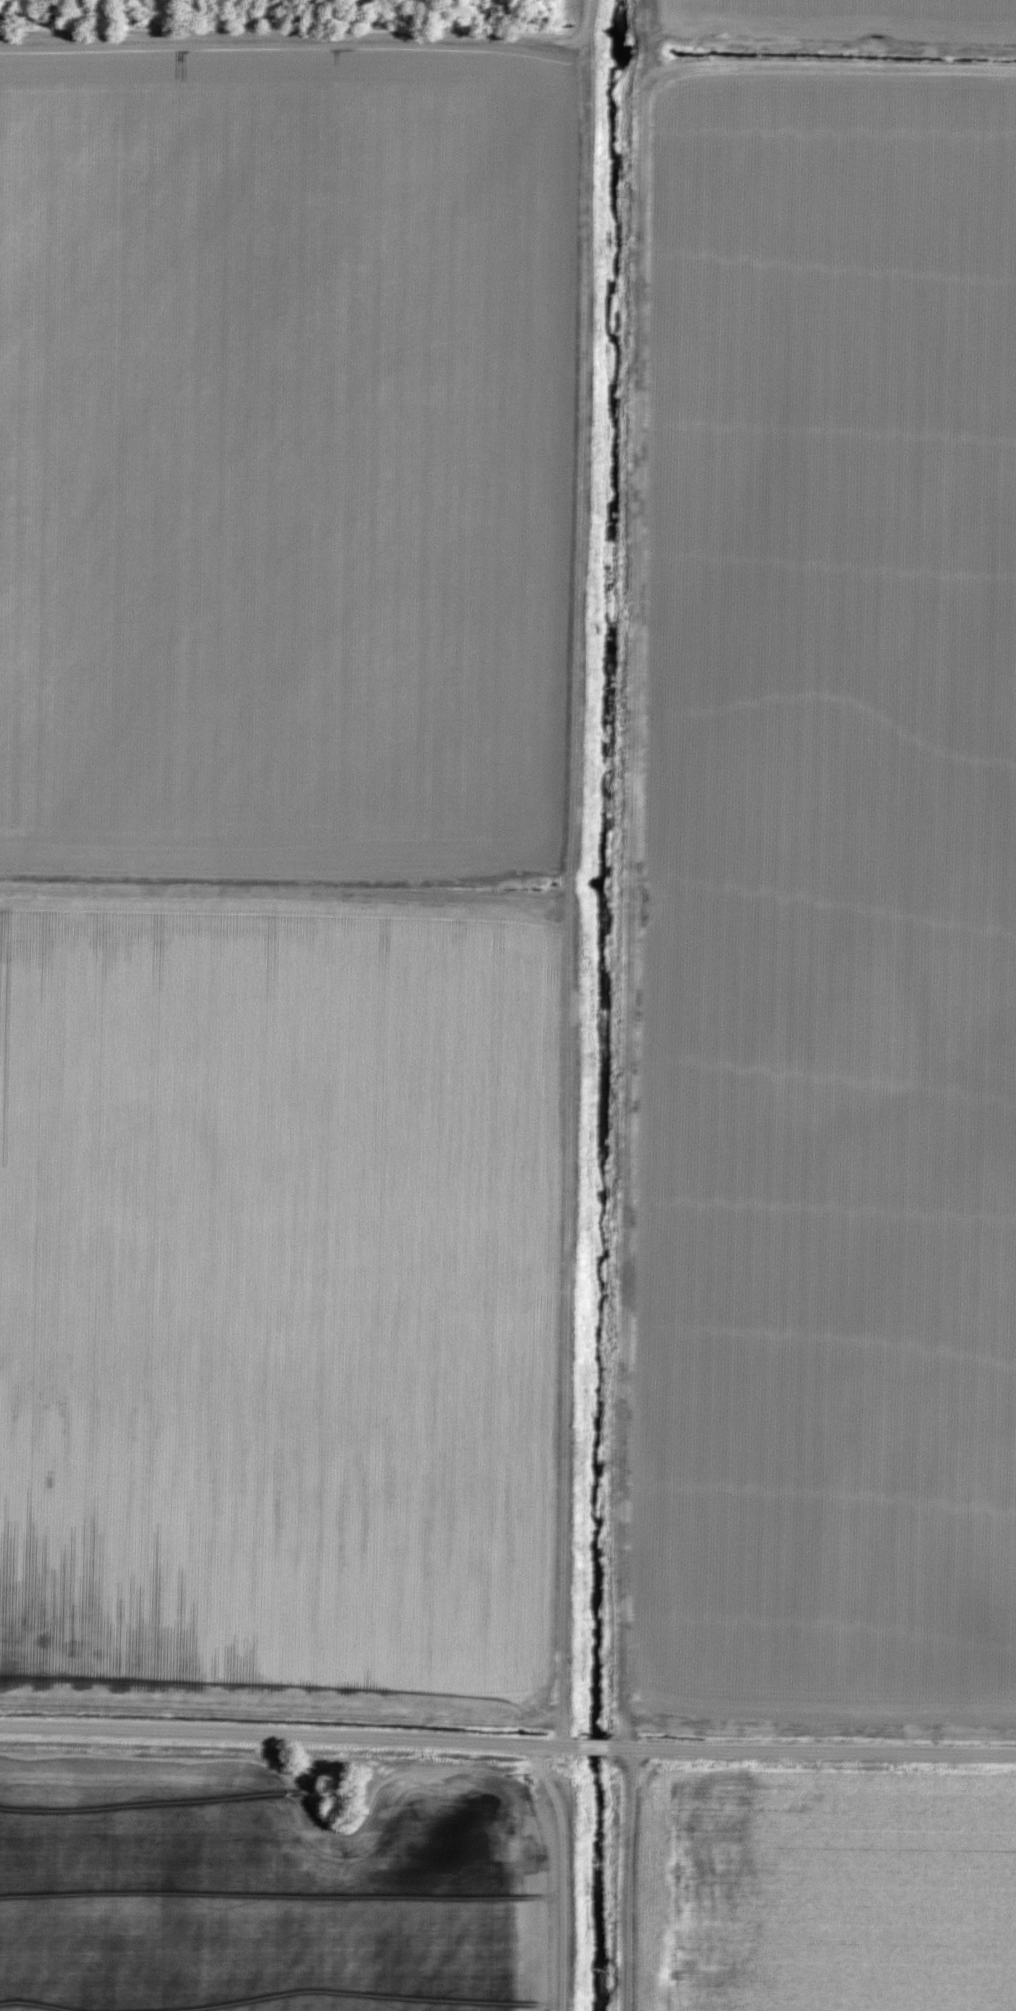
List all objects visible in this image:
road: (294, 40)
road: (574, 874)
road: (288, 883)
road: (507, 1746)
road: (570, 1875)

